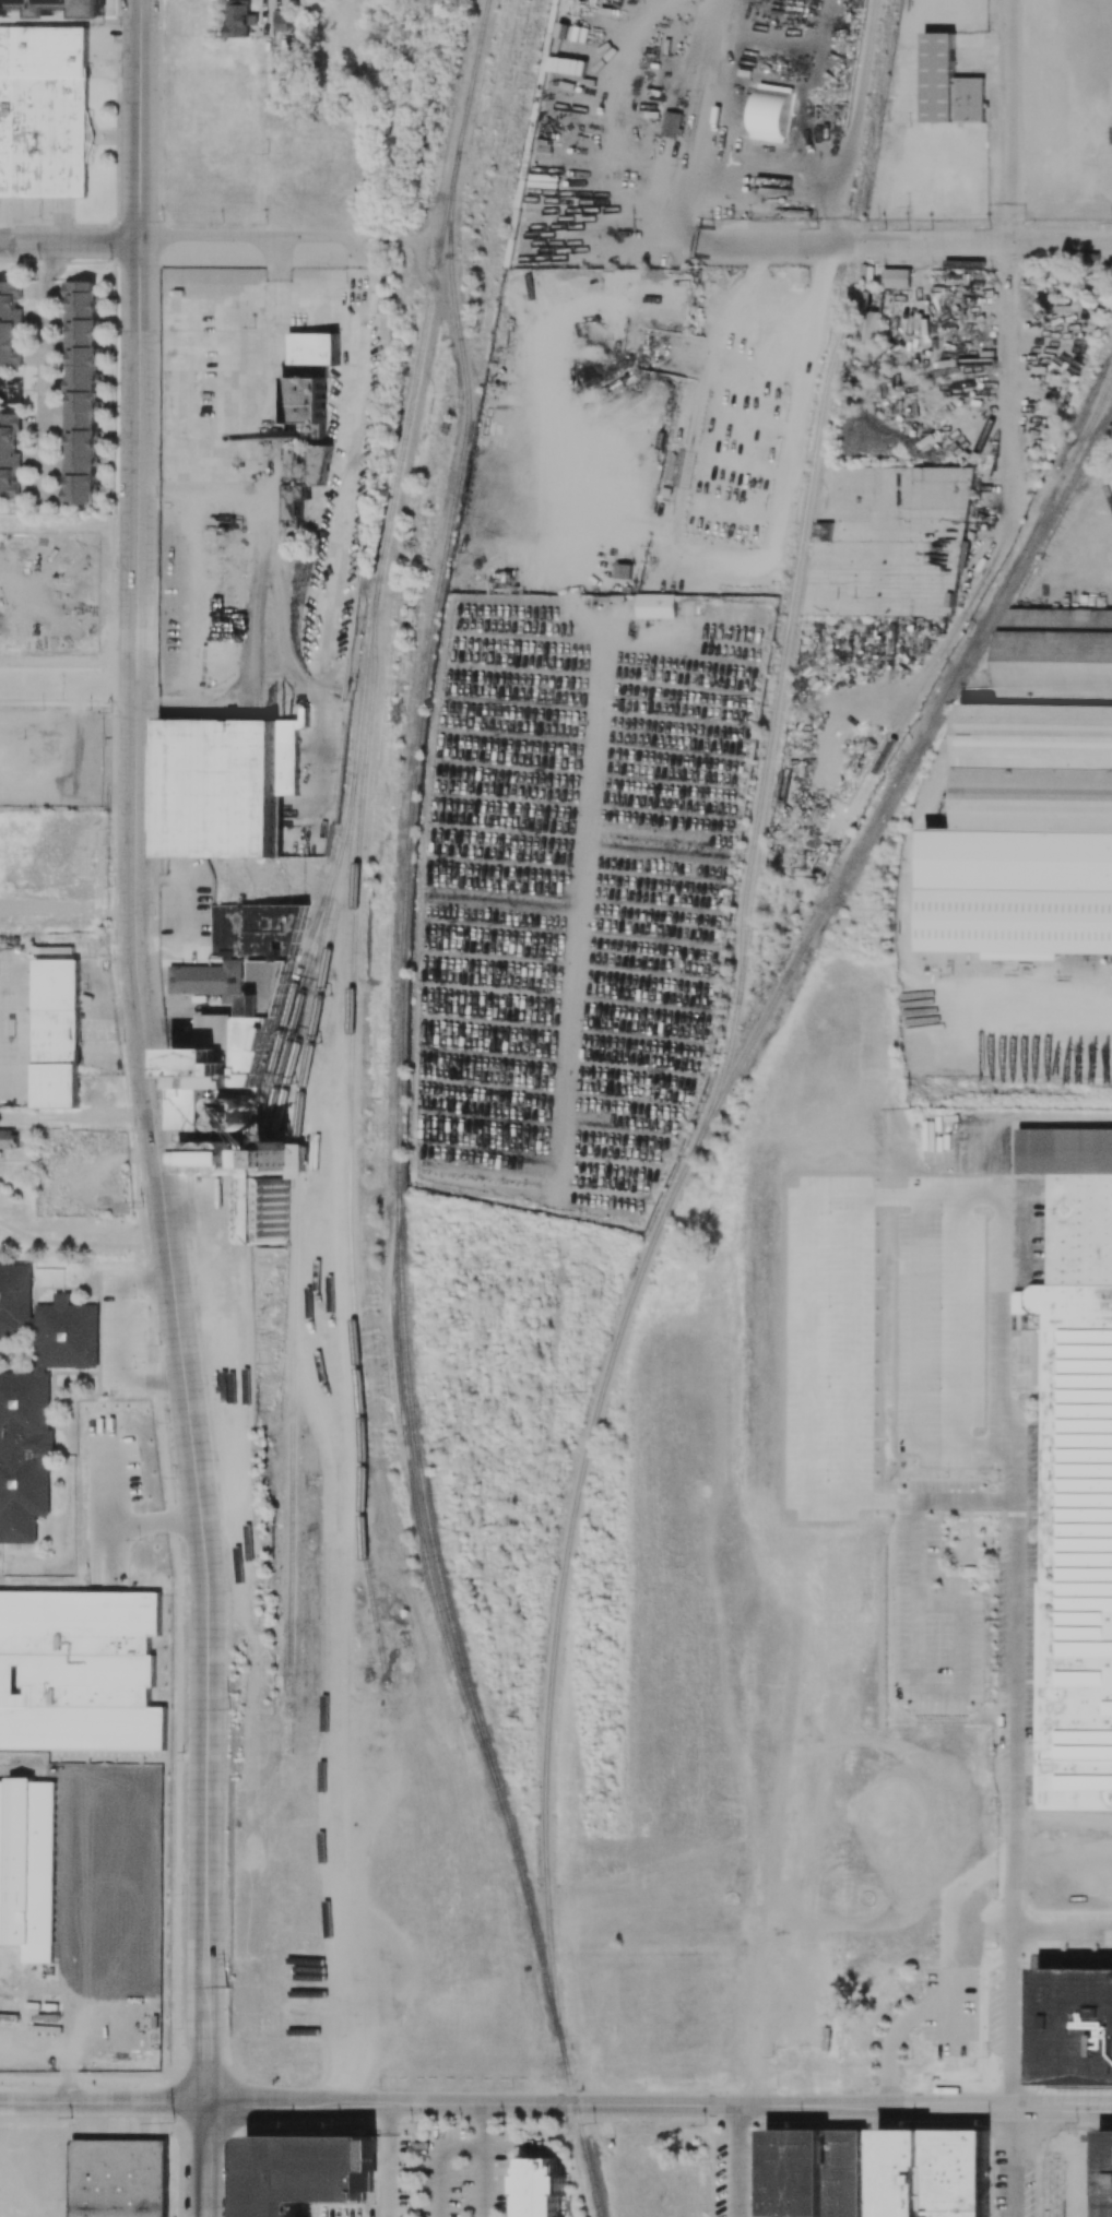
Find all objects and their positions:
building: (54, 8)
building: (239, 19)
building: (285, 20)
road: (265, 21)
street lamp: (158, 25)
road: (138, 28)
parking lot: (102, 49)
road: (113, 71)
building: (948, 84)
building: (43, 111)
building: (671, 123)
street lamp: (117, 128)
building: (87, 134)
road: (778, 168)
road: (138, 193)
street lamp: (37, 216)
road: (45, 220)
road: (56, 220)
street lamp: (163, 220)
street lamp: (261, 220)
road: (734, 226)
road: (833, 230)
road: (1010, 233)
road: (258, 235)
road: (767, 237)
road: (5, 242)
road: (74, 244)
road: (989, 246)
street lamp: (38, 259)
street lamp: (114, 263)
building: (896, 277)
street lamp: (34, 305)
building: (867, 320)
building: (9, 322)
street lamp: (157, 339)
building: (311, 348)
road: (40, 374)
building: (80, 391)
street lamp: (32, 393)
railway: (1102, 403)
building: (305, 404)
street lamp: (117, 415)
chimney: (291, 436)
building: (9, 455)
building: (301, 476)
road: (199, 487)
street lamp: (156, 495)
building: (480, 499)
road: (262, 524)
building: (879, 534)
railway: (385, 544)
street lamp: (115, 569)
building: (624, 570)
road: (702, 570)
railway: (804, 572)
railway: (1001, 590)
building: (656, 605)
railway: (974, 649)
railway: (782, 651)
street lamp: (155, 666)
road: (67, 686)
street lamp: (34, 700)
street lamp: (117, 710)
street lamp: (23, 737)
street lamp: (104, 743)
road: (134, 752)
street lamp: (154, 781)
building: (224, 785)
road: (589, 794)
building: (1032, 798)
street lamp: (33, 807)
street lamp: (115, 856)
railway: (338, 866)
street lamp: (154, 914)
street lamp: (115, 962)
railway: (304, 989)
railway: (310, 991)
road: (1029, 1016)
building: (56, 1033)
building: (239, 1055)
street lamp: (168, 1076)
power tower: (914, 1105)
road: (76, 1115)
railway: (399, 1125)
street lamp: (131, 1126)
railway: (348, 1129)
road: (968, 1136)
building: (9, 1138)
park: (61, 1233)
street lamp: (146, 1235)
railway: (291, 1242)
road: (70, 1244)
street lamp: (189, 1246)
road: (146, 1264)
street lamp: (193, 1284)
road: (956, 1291)
street lamp: (134, 1297)
street lamp: (156, 1316)
railway: (740, 1317)
road: (121, 1339)
street lamp: (133, 1367)
street lamp: (206, 1382)
power tower: (587, 1390)
building: (33, 1391)
railway: (399, 1399)
street lamp: (167, 1422)
railway: (585, 1454)
street lamp: (215, 1459)
building: (1075, 1471)
street lamp: (179, 1532)
road: (204, 1588)
street lamp: (229, 1590)
road: (1016, 1622)
street lamp: (186, 1623)
road: (915, 1628)
power tower: (235, 1706)
street lamp: (228, 1707)
street lamp: (45, 1717)
street lamp: (62, 1731)
road: (71, 1751)
street lamp: (180, 1757)
road: (1064, 1823)
street lamp: (228, 1828)
building: (28, 1864)
road: (1064, 1866)
road: (1015, 1885)
street lamp: (180, 1892)
street lamp: (228, 1961)
power tower: (229, 1985)
road: (1013, 2002)
building: (1075, 2026)
street lamp: (181, 2028)
road: (896, 2032)
road: (205, 2053)
street lamp: (987, 2059)
street lamp: (379, 2085)
street lamp: (646, 2089)
street lamp: (779, 2091)
road: (103, 2102)
road: (658, 2105)
road: (1012, 2105)
street lamp: (417, 2121)
power tower: (173, 2122)
street lamp: (516, 2123)
street lamp: (594, 2123)
street lamp: (1075, 2123)
street lamp: (987, 2125)
road: (381, 2157)
road: (484, 2158)
road: (205, 2159)
road: (388, 2159)
road: (439, 2159)
street lamp: (706, 2160)
road: (737, 2161)
building: (306, 2171)
building: (813, 2172)
building: (932, 2173)
building: (1105, 2173)
building: (119, 2178)
building: (540, 2188)
road: (1010, 2190)
road: (483, 2215)
road: (485, 2215)
road: (205, 2216)

